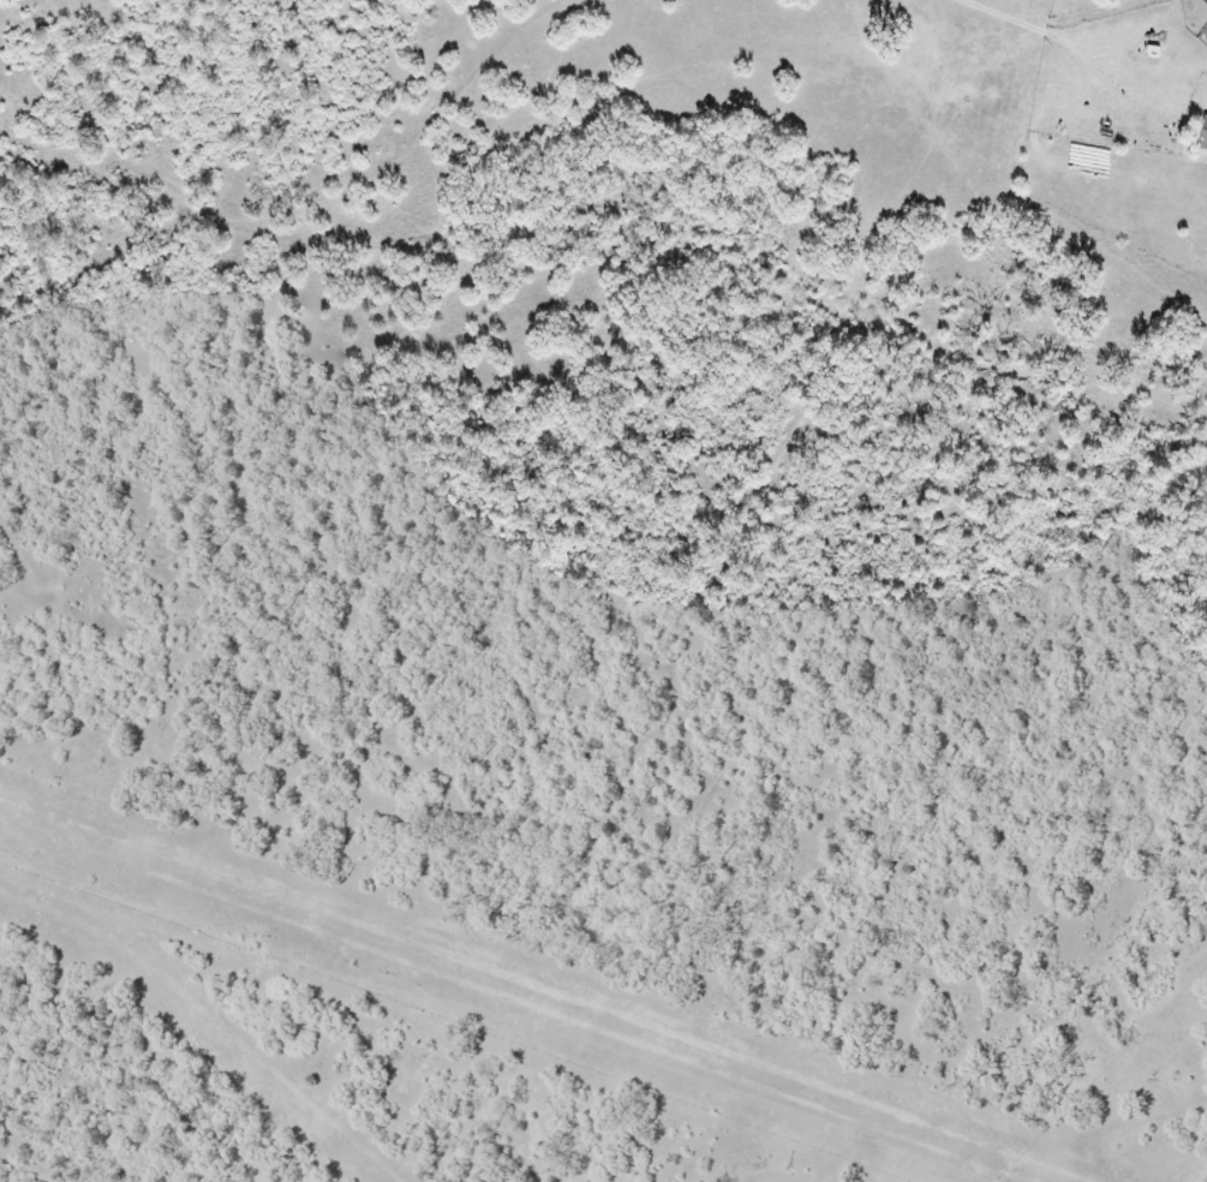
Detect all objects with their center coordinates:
building: (1205, 137)

